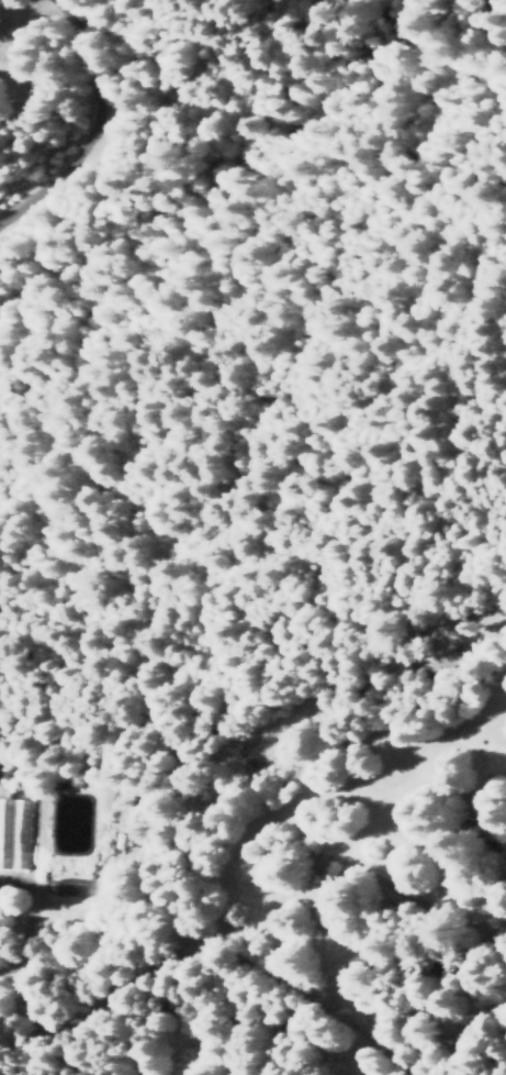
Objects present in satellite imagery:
building: (124, 817)
building: (13, 833)

